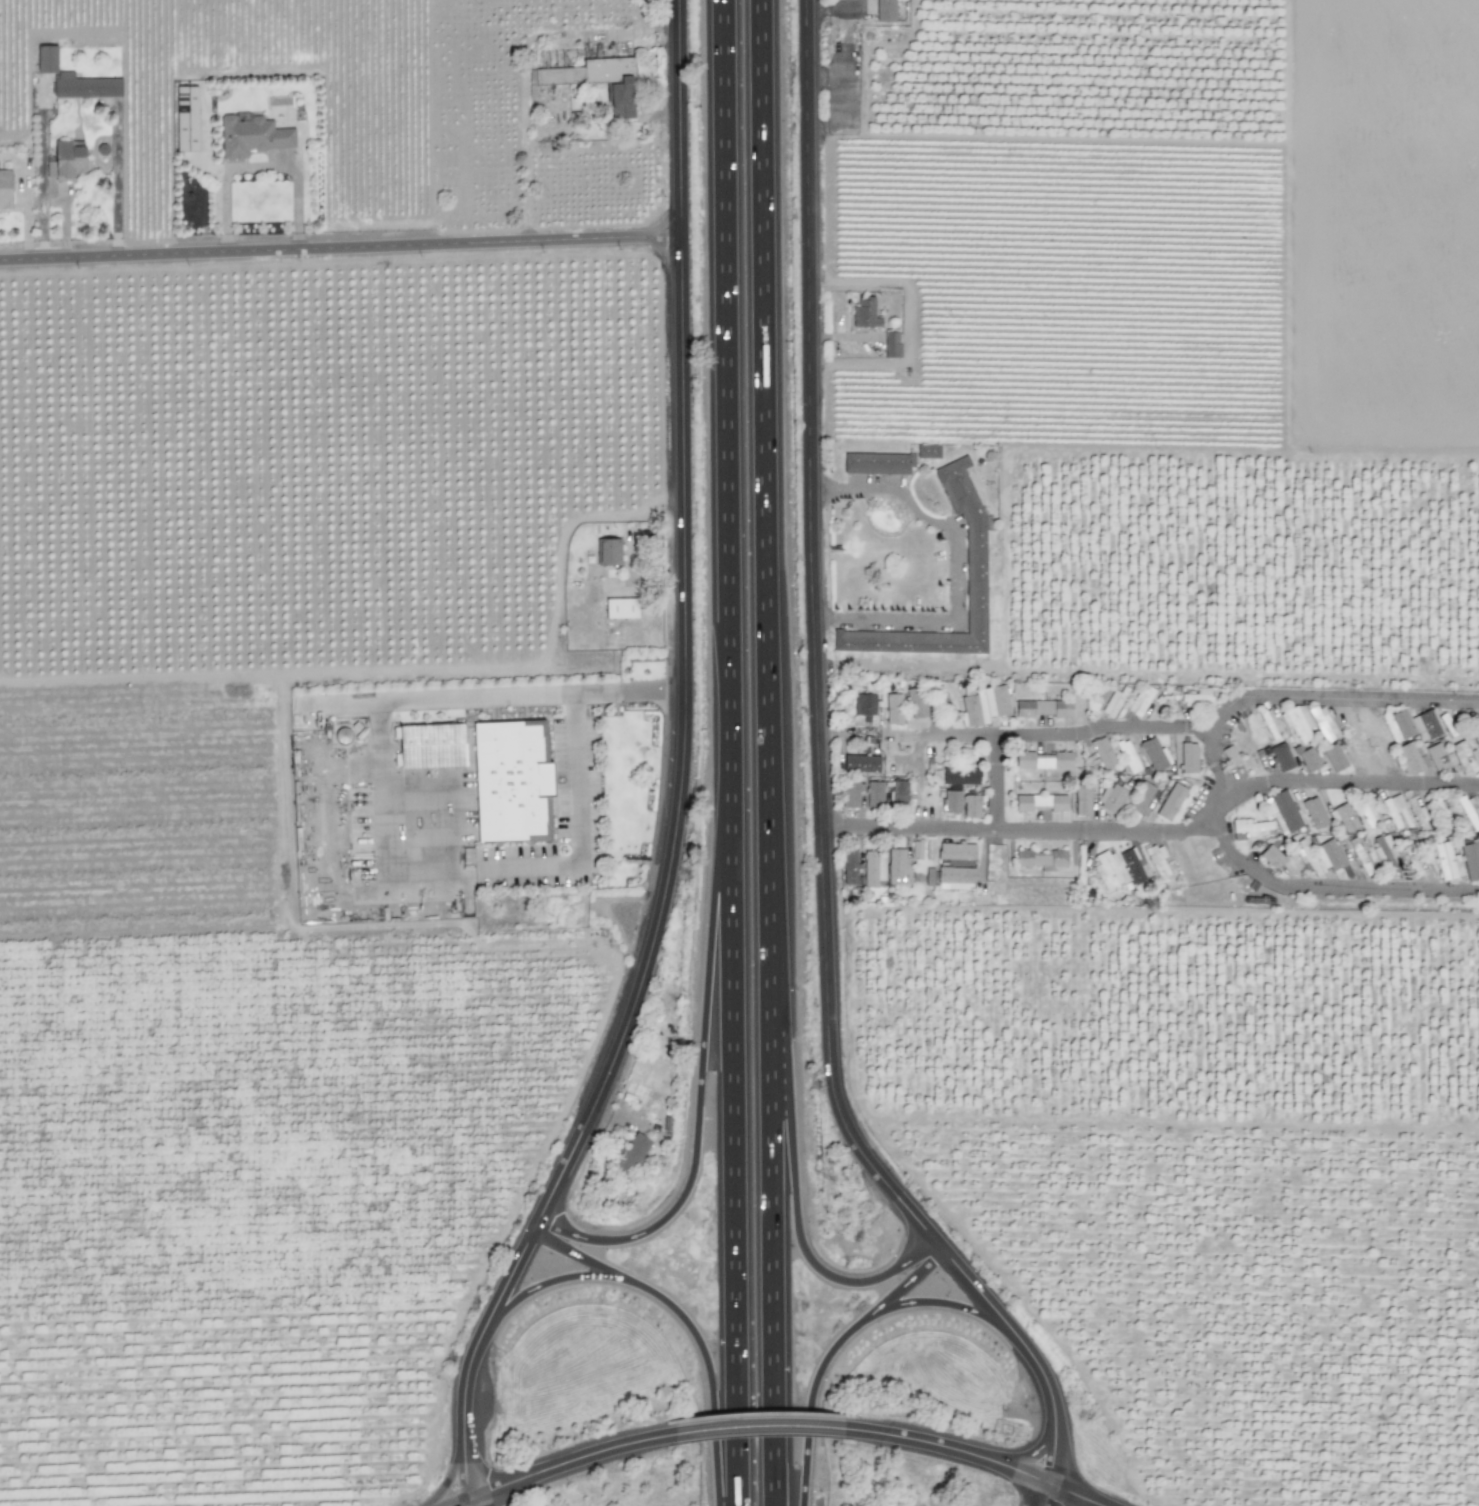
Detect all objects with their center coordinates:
building: (885, 10)
building: (46, 59)
building: (596, 80)
building: (84, 86)
building: (186, 118)
building: (252, 137)
building: (64, 160)
building: (5, 188)
road: (24, 198)
road: (341, 249)
building: (865, 313)
building: (891, 344)
building: (927, 451)
building: (877, 463)
building: (954, 480)
building: (607, 552)
road: (952, 568)
building: (620, 608)
road: (685, 625)
building: (921, 637)
road: (814, 639)
building: (1197, 697)
building: (1140, 700)
road: (1283, 700)
building: (1114, 702)
building: (916, 703)
building: (864, 704)
building: (984, 706)
building: (1043, 708)
building: (893, 709)
building: (1298, 723)
building: (1323, 723)
building: (1270, 724)
building: (1415, 725)
road: (1057, 734)
road: (941, 738)
building: (430, 746)
road: (770, 752)
building: (1103, 752)
road: (730, 753)
building: (1154, 754)
building: (1127, 756)
building: (1230, 756)
building: (1464, 756)
building: (1281, 757)
building: (1410, 757)
building: (1436, 757)
building: (1188, 758)
building: (1334, 758)
building: (1308, 759)
building: (1043, 760)
building: (861, 763)
building: (960, 776)
road: (1351, 780)
building: (512, 782)
building: (898, 791)
building: (851, 793)
building: (874, 794)
building: (1112, 796)
building: (952, 801)
building: (1040, 802)
building: (1170, 802)
building: (971, 806)
building: (1393, 809)
building: (1282, 812)
building: (1314, 813)
building: (1419, 815)
building: (1344, 817)
road: (1009, 826)
building: (1250, 829)
road: (391, 831)
building: (917, 849)
building: (956, 853)
building: (1328, 855)
building: (1271, 856)
building: (1383, 856)
building: (1040, 858)
building: (1307, 860)
building: (1412, 860)
building: (1157, 861)
building: (1446, 861)
building: (1470, 861)
building: (1135, 865)
building: (849, 866)
building: (898, 867)
building: (873, 868)
building: (1107, 870)
building: (929, 876)
building: (955, 878)
road: (1328, 886)
road: (704, 1078)
building: (632, 1152)
road: (796, 1179)
road: (576, 1254)
road: (908, 1280)
road: (550, 1283)
road: (940, 1303)
road: (1027, 1351)
road: (475, 1356)
road: (711, 1369)
road: (810, 1397)
road: (757, 1427)
road: (949, 1448)
road: (1035, 1457)
road: (562, 1465)
road: (1048, 1495)
road: (1075, 1495)
road: (466, 1504)

